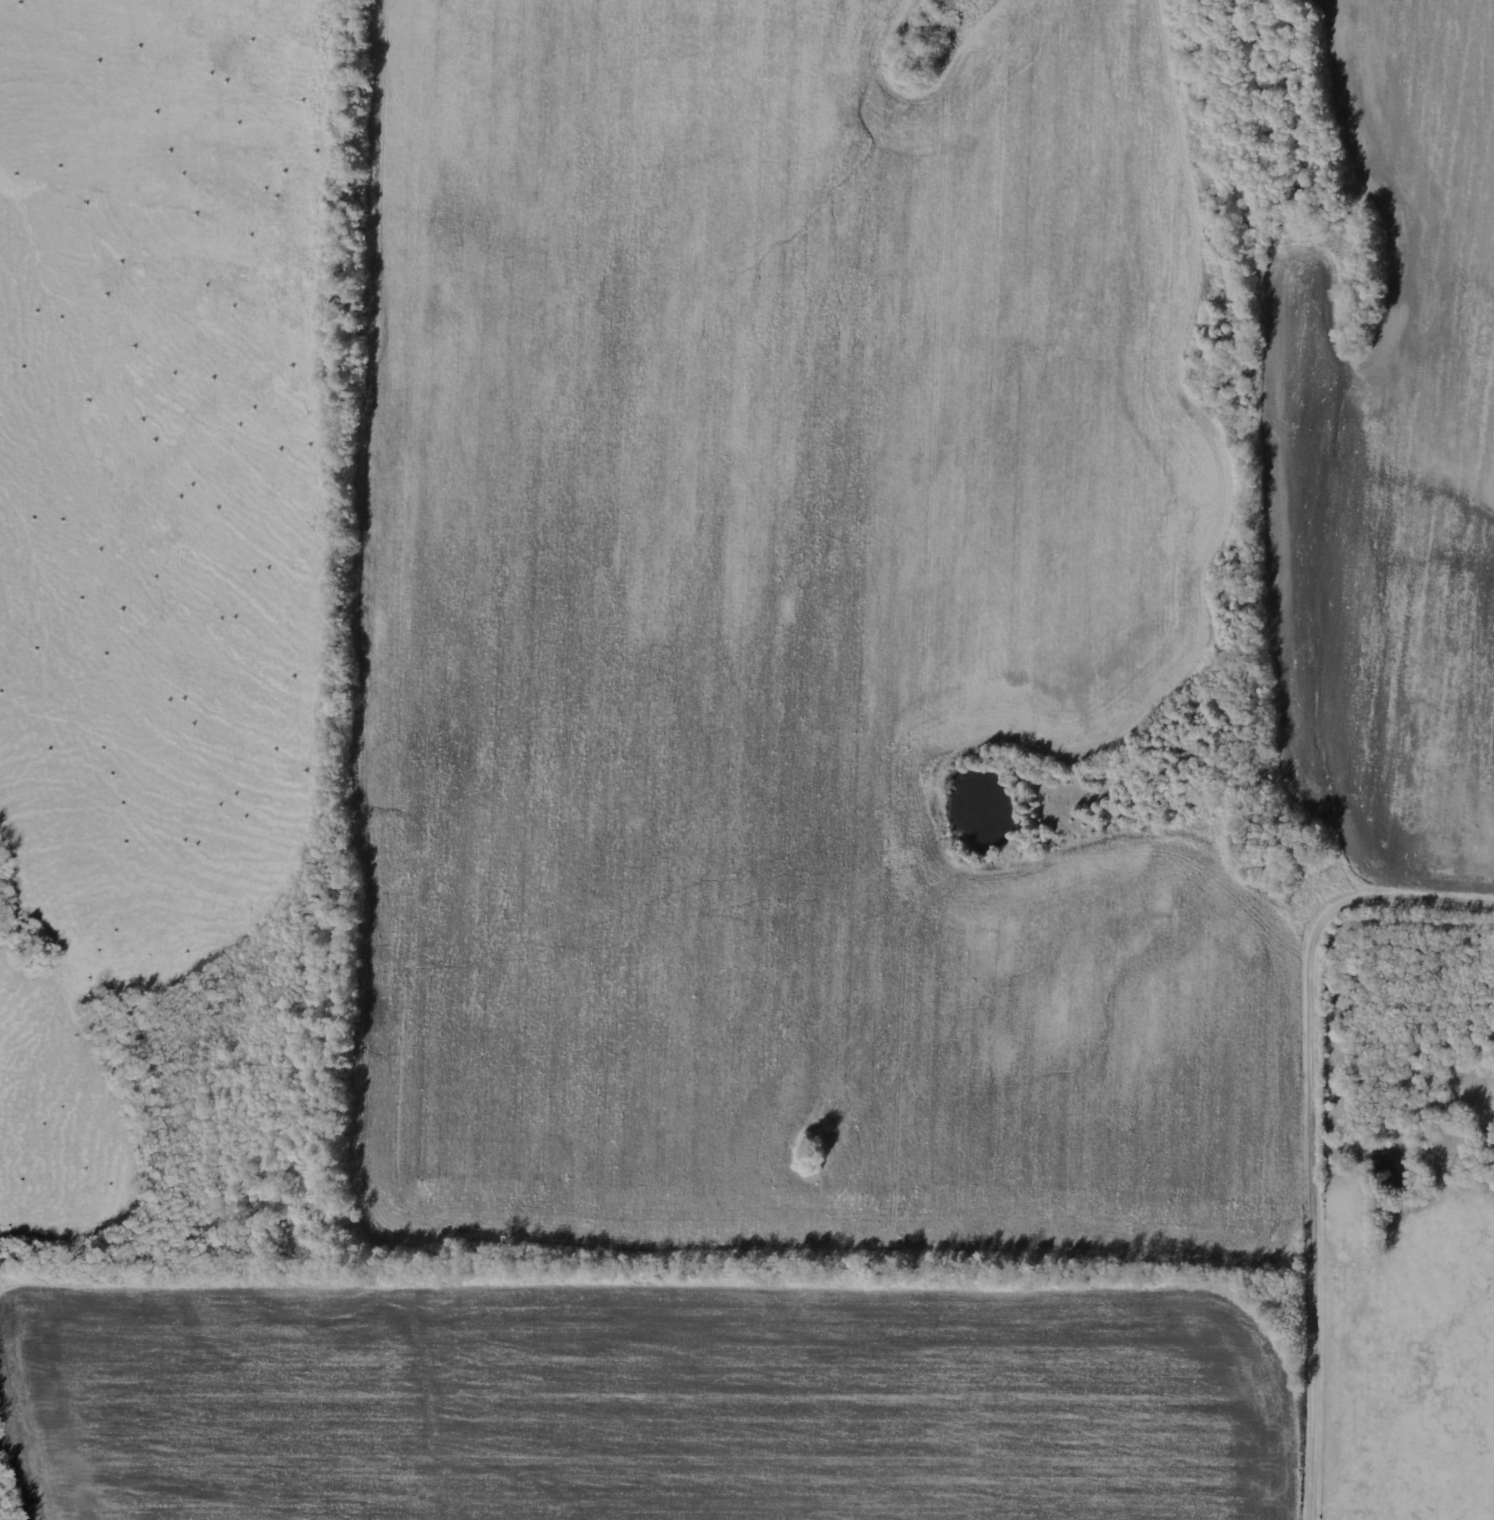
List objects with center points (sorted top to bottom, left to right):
road: (1317, 1131)

